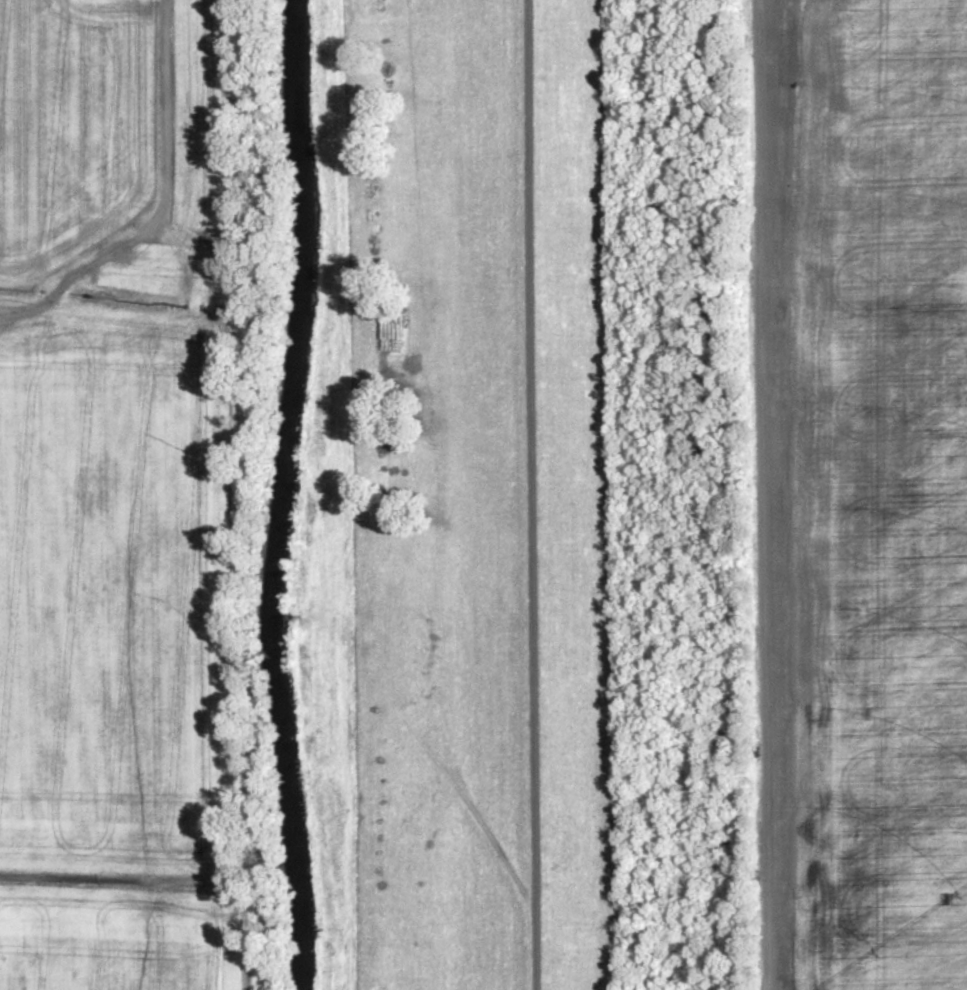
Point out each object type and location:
road: (159, 204)
road: (533, 495)
road: (762, 495)

